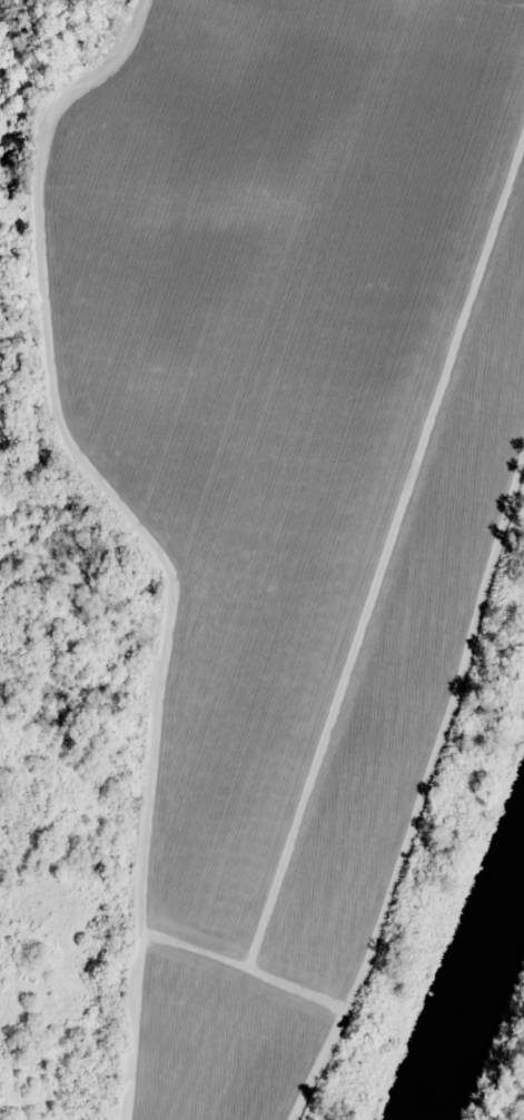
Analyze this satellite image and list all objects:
river: (463, 980)

